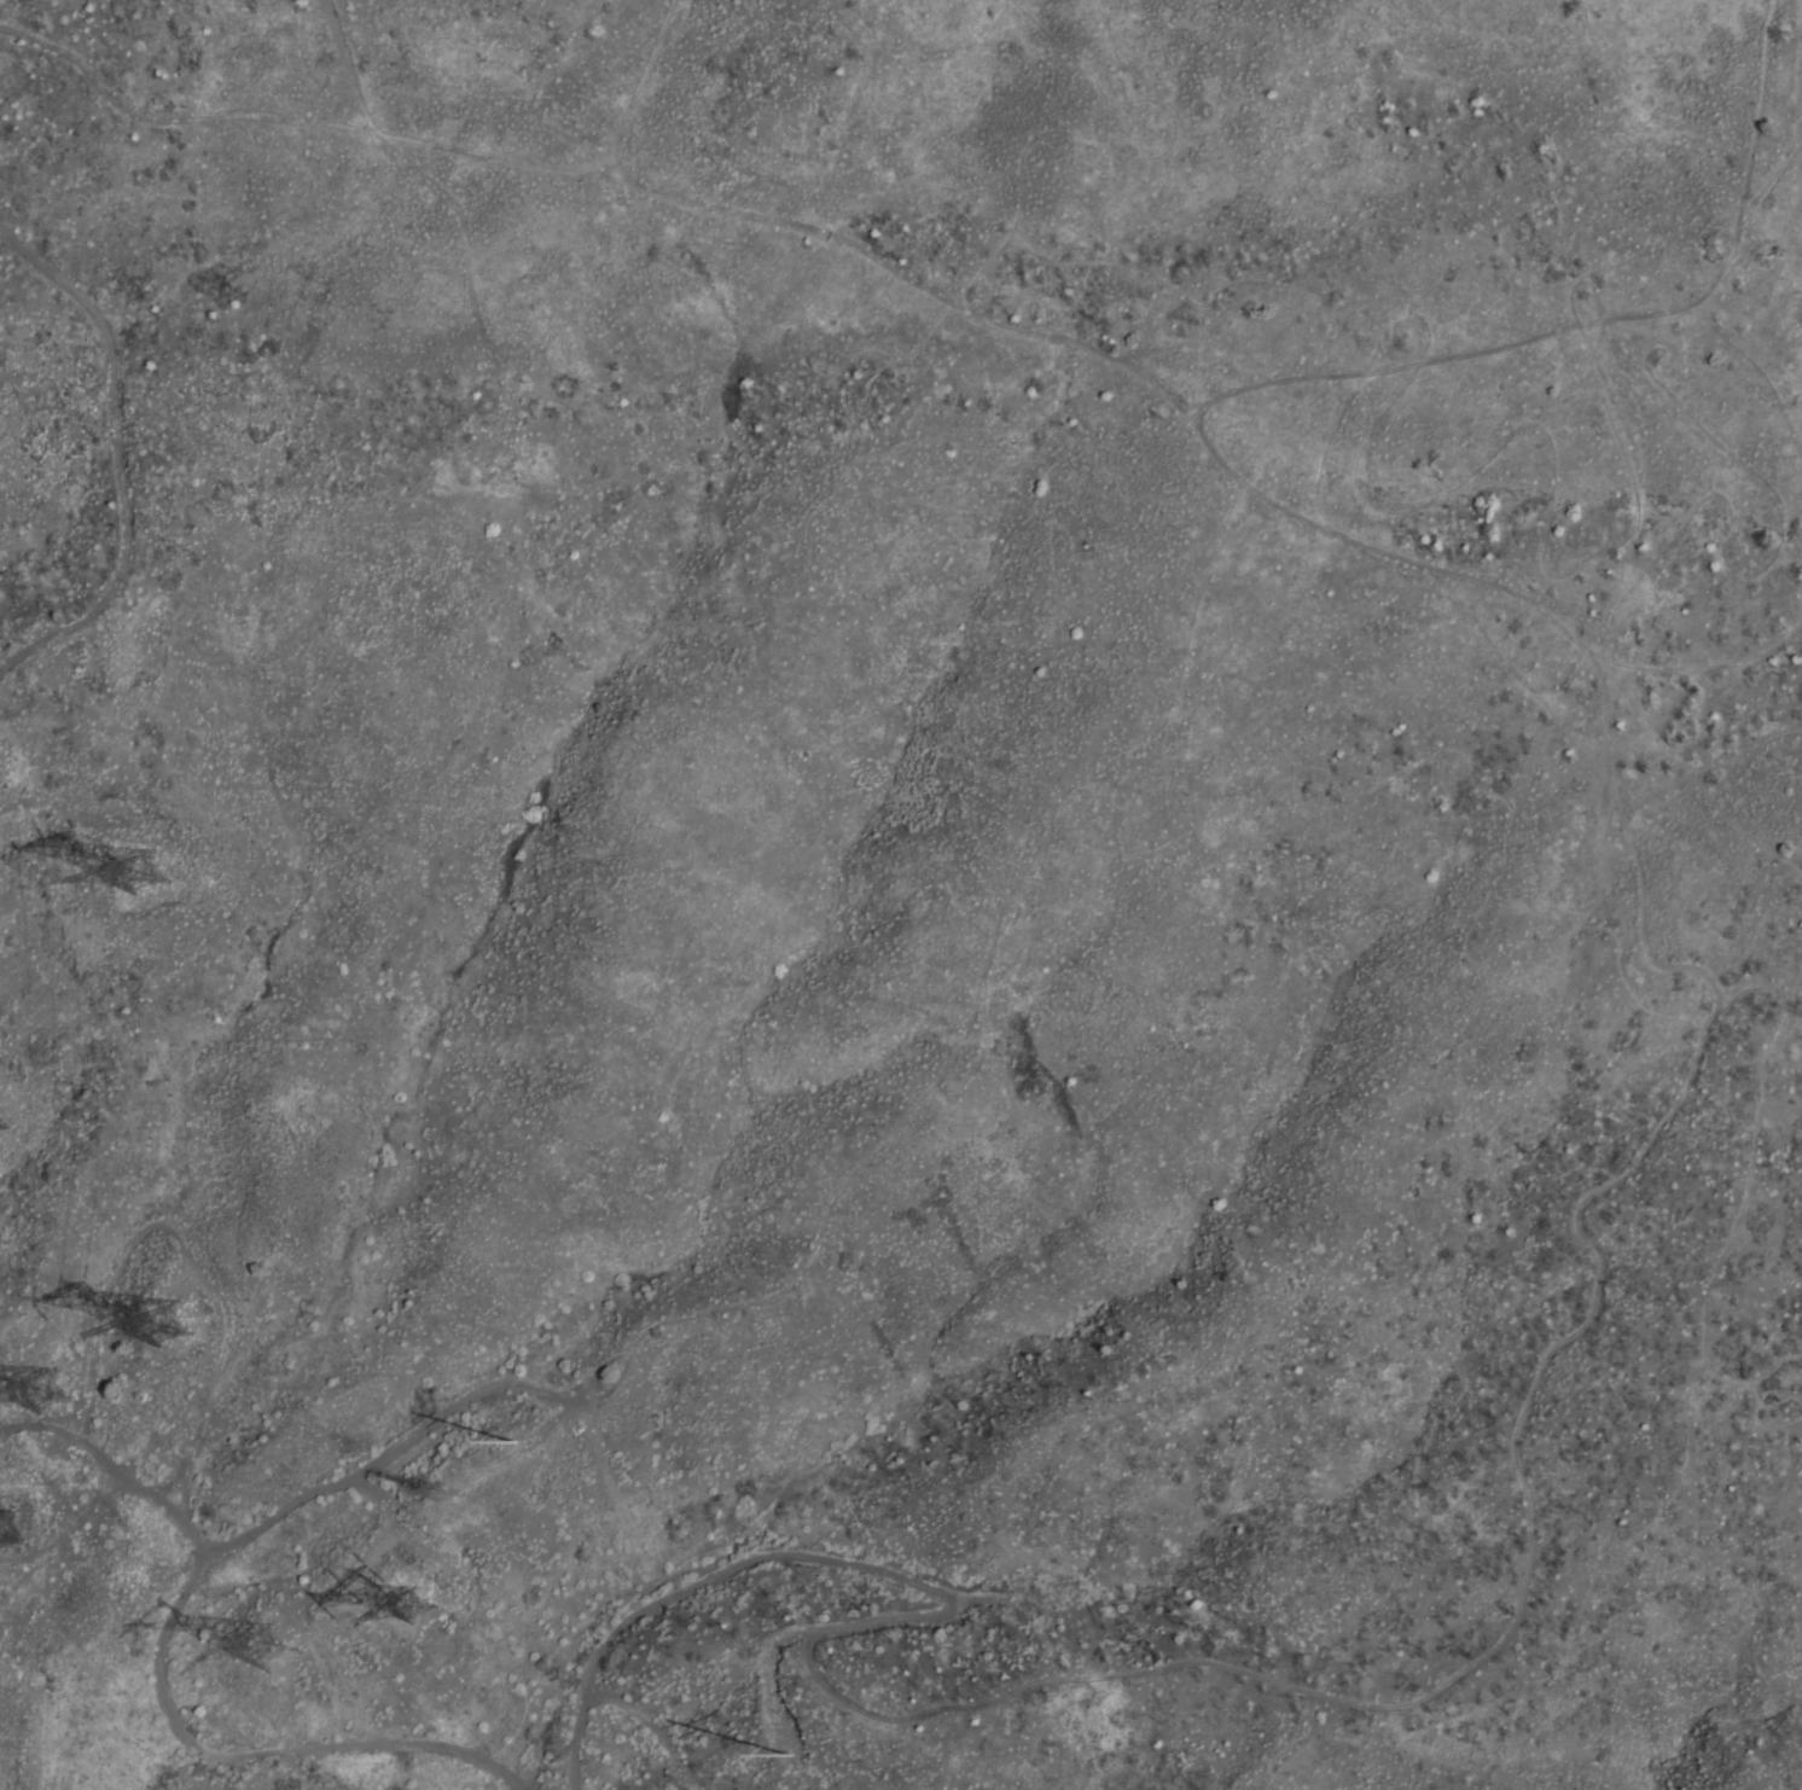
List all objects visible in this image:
road: (344, 64)
road: (630, 98)
road: (618, 170)
road: (854, 246)
road: (1593, 320)
road: (115, 458)
road: (1471, 470)
road: (1765, 563)
road: (1698, 664)
power tower: (146, 871)
road: (1595, 1294)
power tower: (170, 1325)
power tower: (519, 1442)
power tower: (444, 1487)
power tower: (1, 1529)
power tower: (399, 1585)
road: (929, 1614)
power tower: (304, 1655)
road: (771, 1664)
road: (159, 1695)
power tower: (795, 1755)

